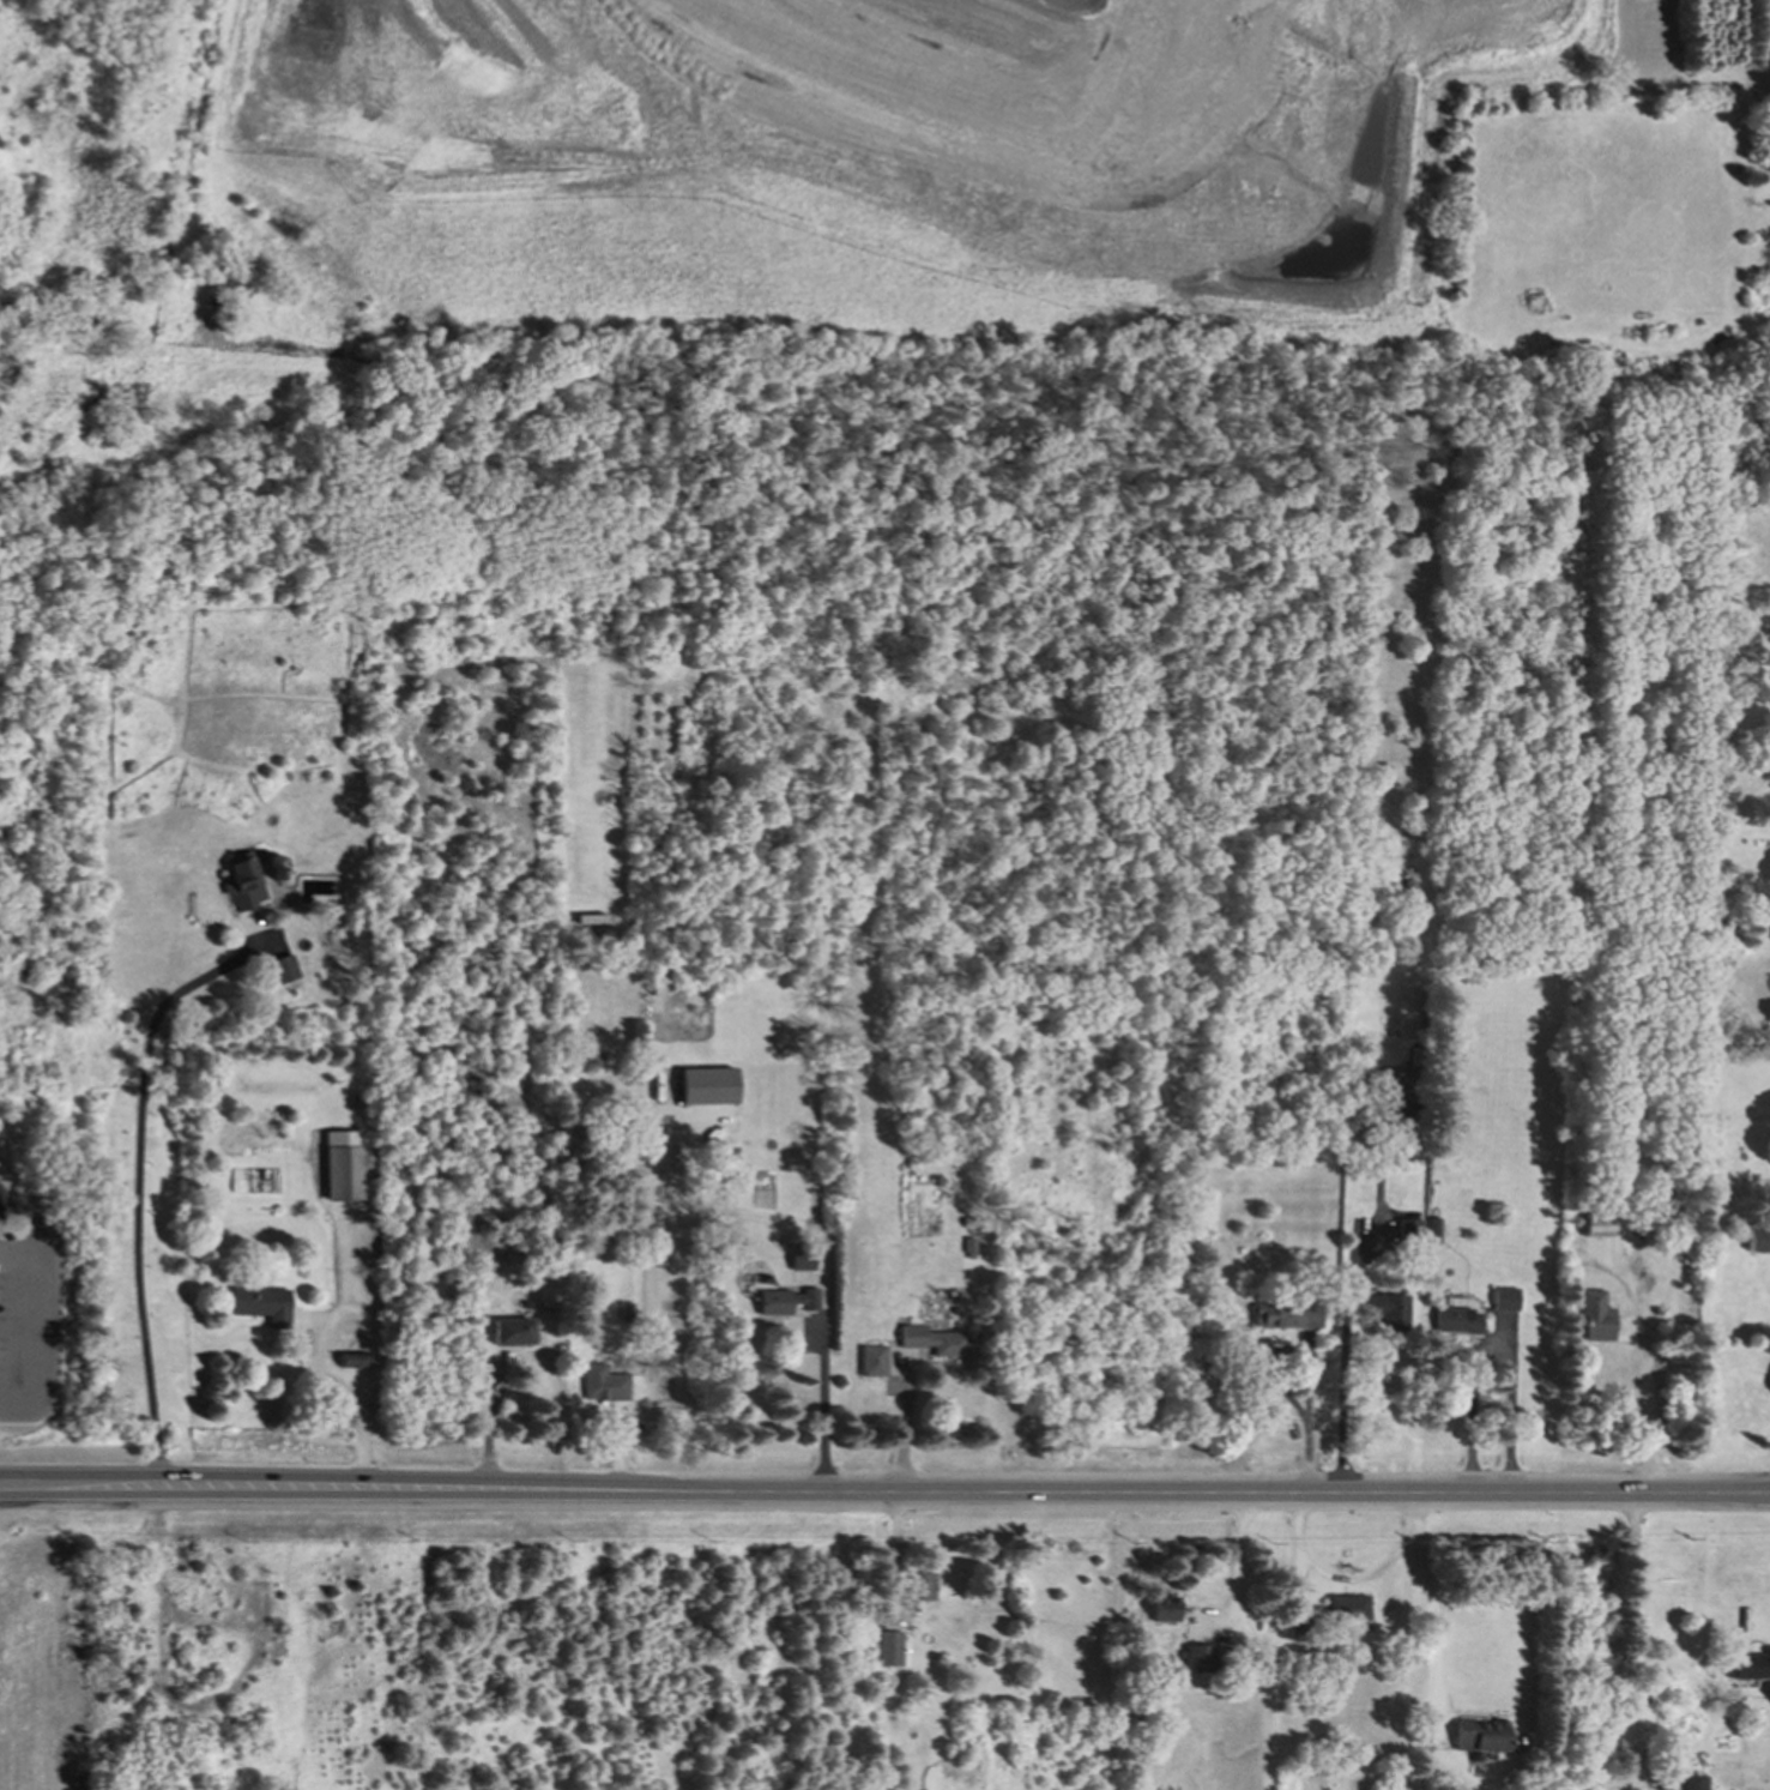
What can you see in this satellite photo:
road: (1236, 77)
road: (913, 119)
building: (244, 884)
building: (284, 970)
building: (708, 1087)
building: (344, 1167)
road: (139, 1186)
building: (1596, 1228)
building: (1409, 1230)
building: (1433, 1230)
building: (1758, 1238)
building: (802, 1259)
building: (1505, 1300)
building: (786, 1302)
building: (262, 1306)
building: (1387, 1310)
building: (1595, 1316)
building: (1289, 1318)
building: (1457, 1321)
road: (1348, 1328)
building: (1180, 1330)
building: (513, 1333)
building: (935, 1342)
road: (1493, 1345)
road: (1309, 1360)
road: (41, 1361)
road: (334, 1362)
building: (875, 1362)
road: (1648, 1373)
building: (605, 1385)
road: (828, 1393)
road: (905, 1422)
road: (493, 1423)
road: (79, 1489)
road: (260, 1489)
road: (1065, 1490)
road: (1349, 1579)
building: (920, 1587)
road: (1433, 1601)
building: (1348, 1608)
building: (1166, 1609)
road: (1636, 1633)
road: (1251, 1640)
quarry: (1518, 1647)
building: (889, 1650)
building: (1200, 1659)
building: (1750, 1667)
building: (1480, 1736)
building: (1693, 1783)

